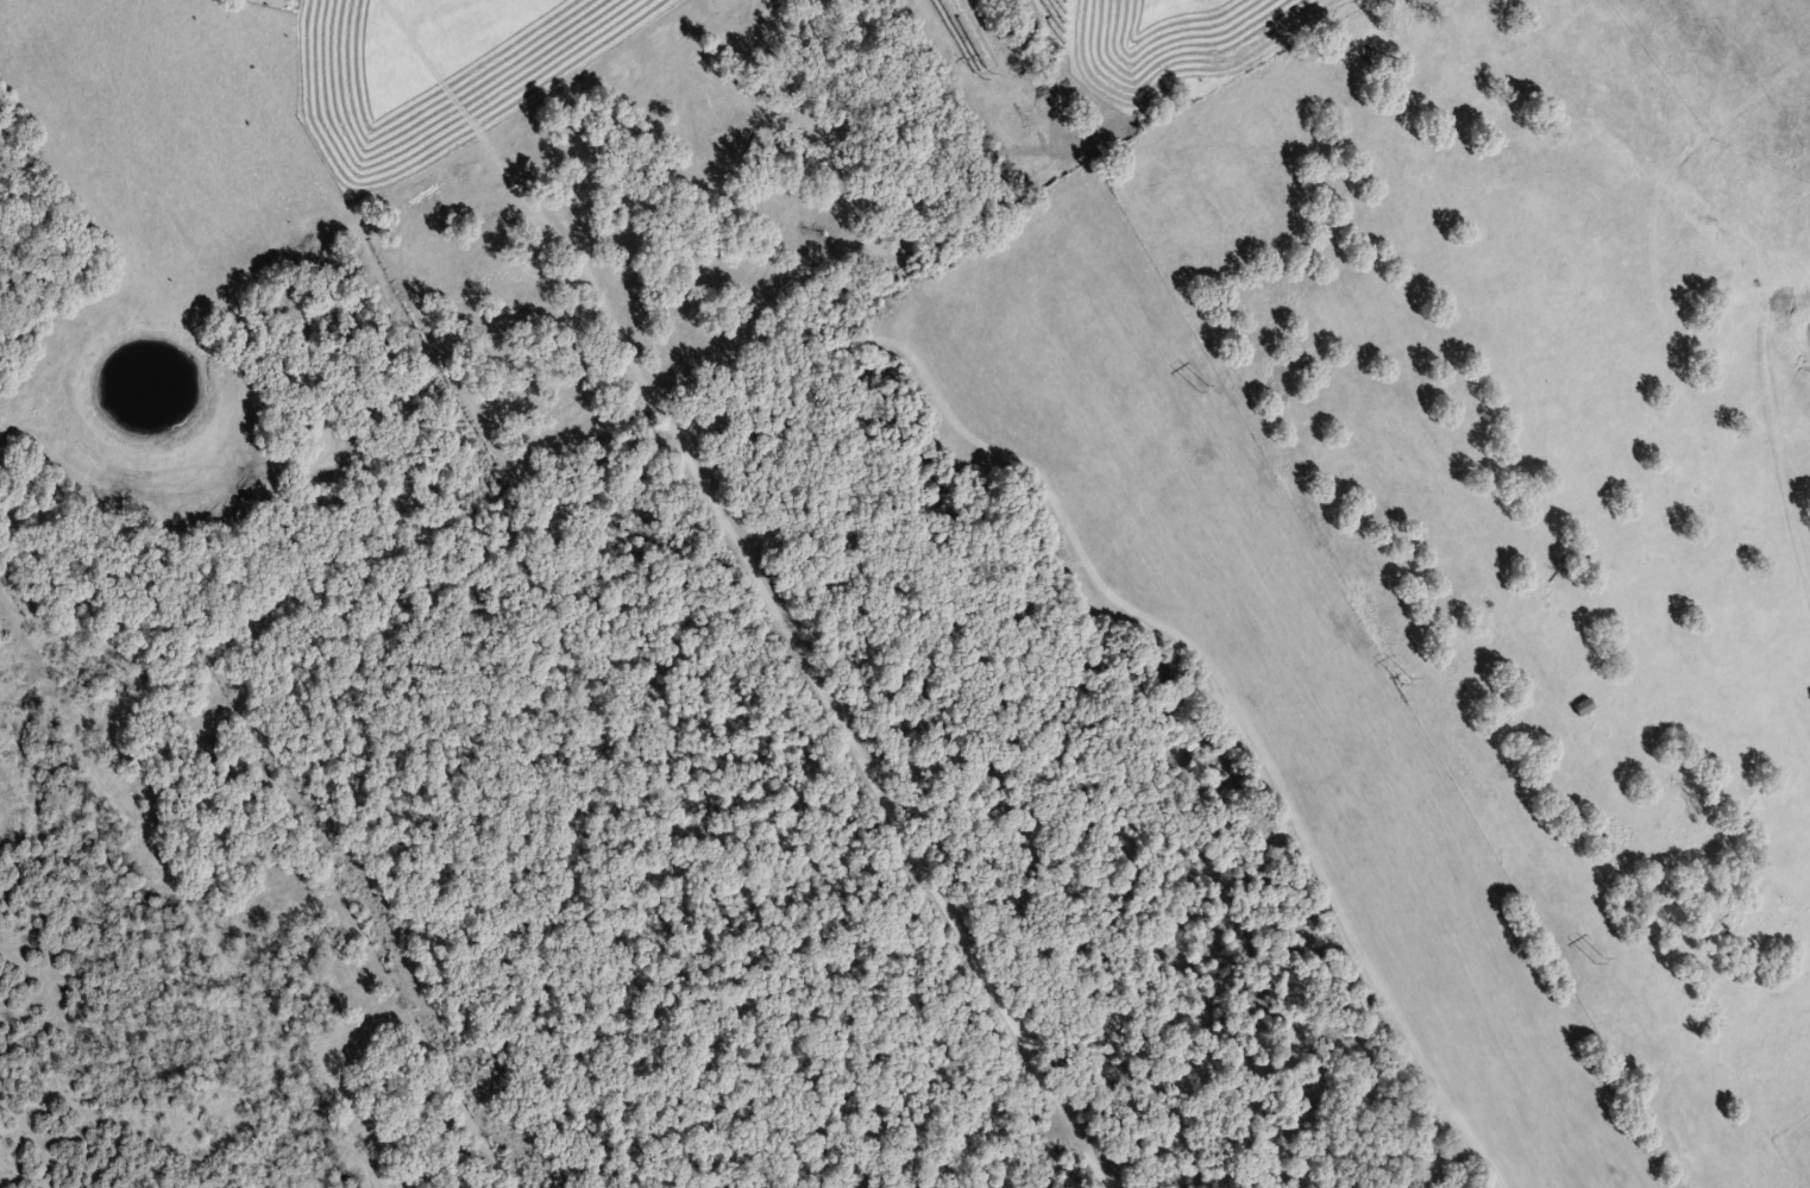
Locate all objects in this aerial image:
power tower: (987, 74)
power tower: (1203, 385)
power tower: (1406, 680)
building: (1578, 704)
power tower: (1600, 958)

